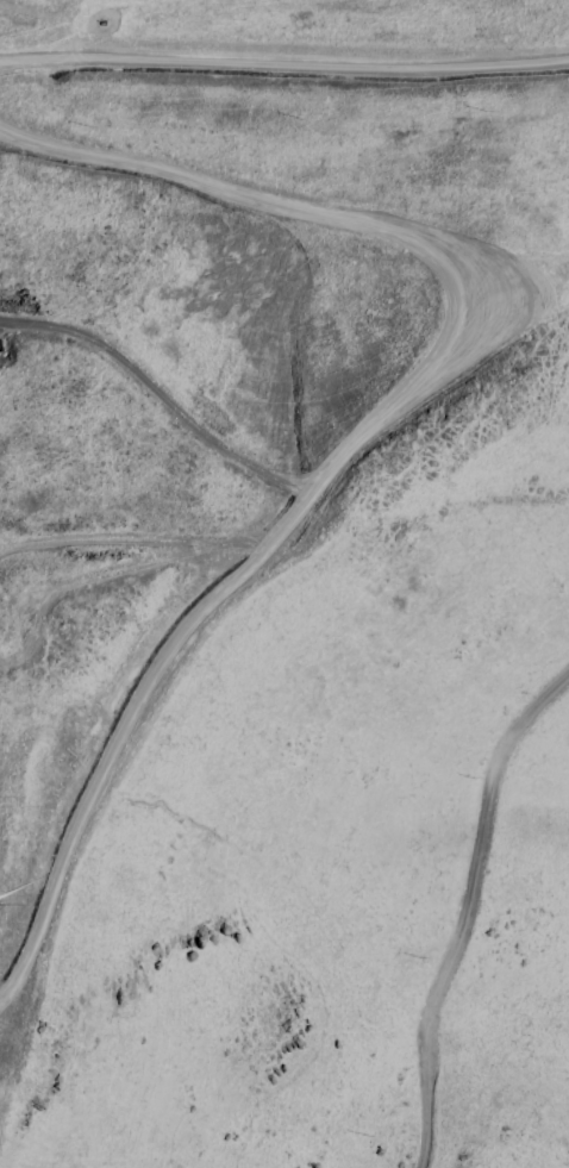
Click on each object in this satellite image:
road: (43, 30)
road: (326, 55)
road: (40, 76)
crop: (229, 152)
road: (227, 585)

